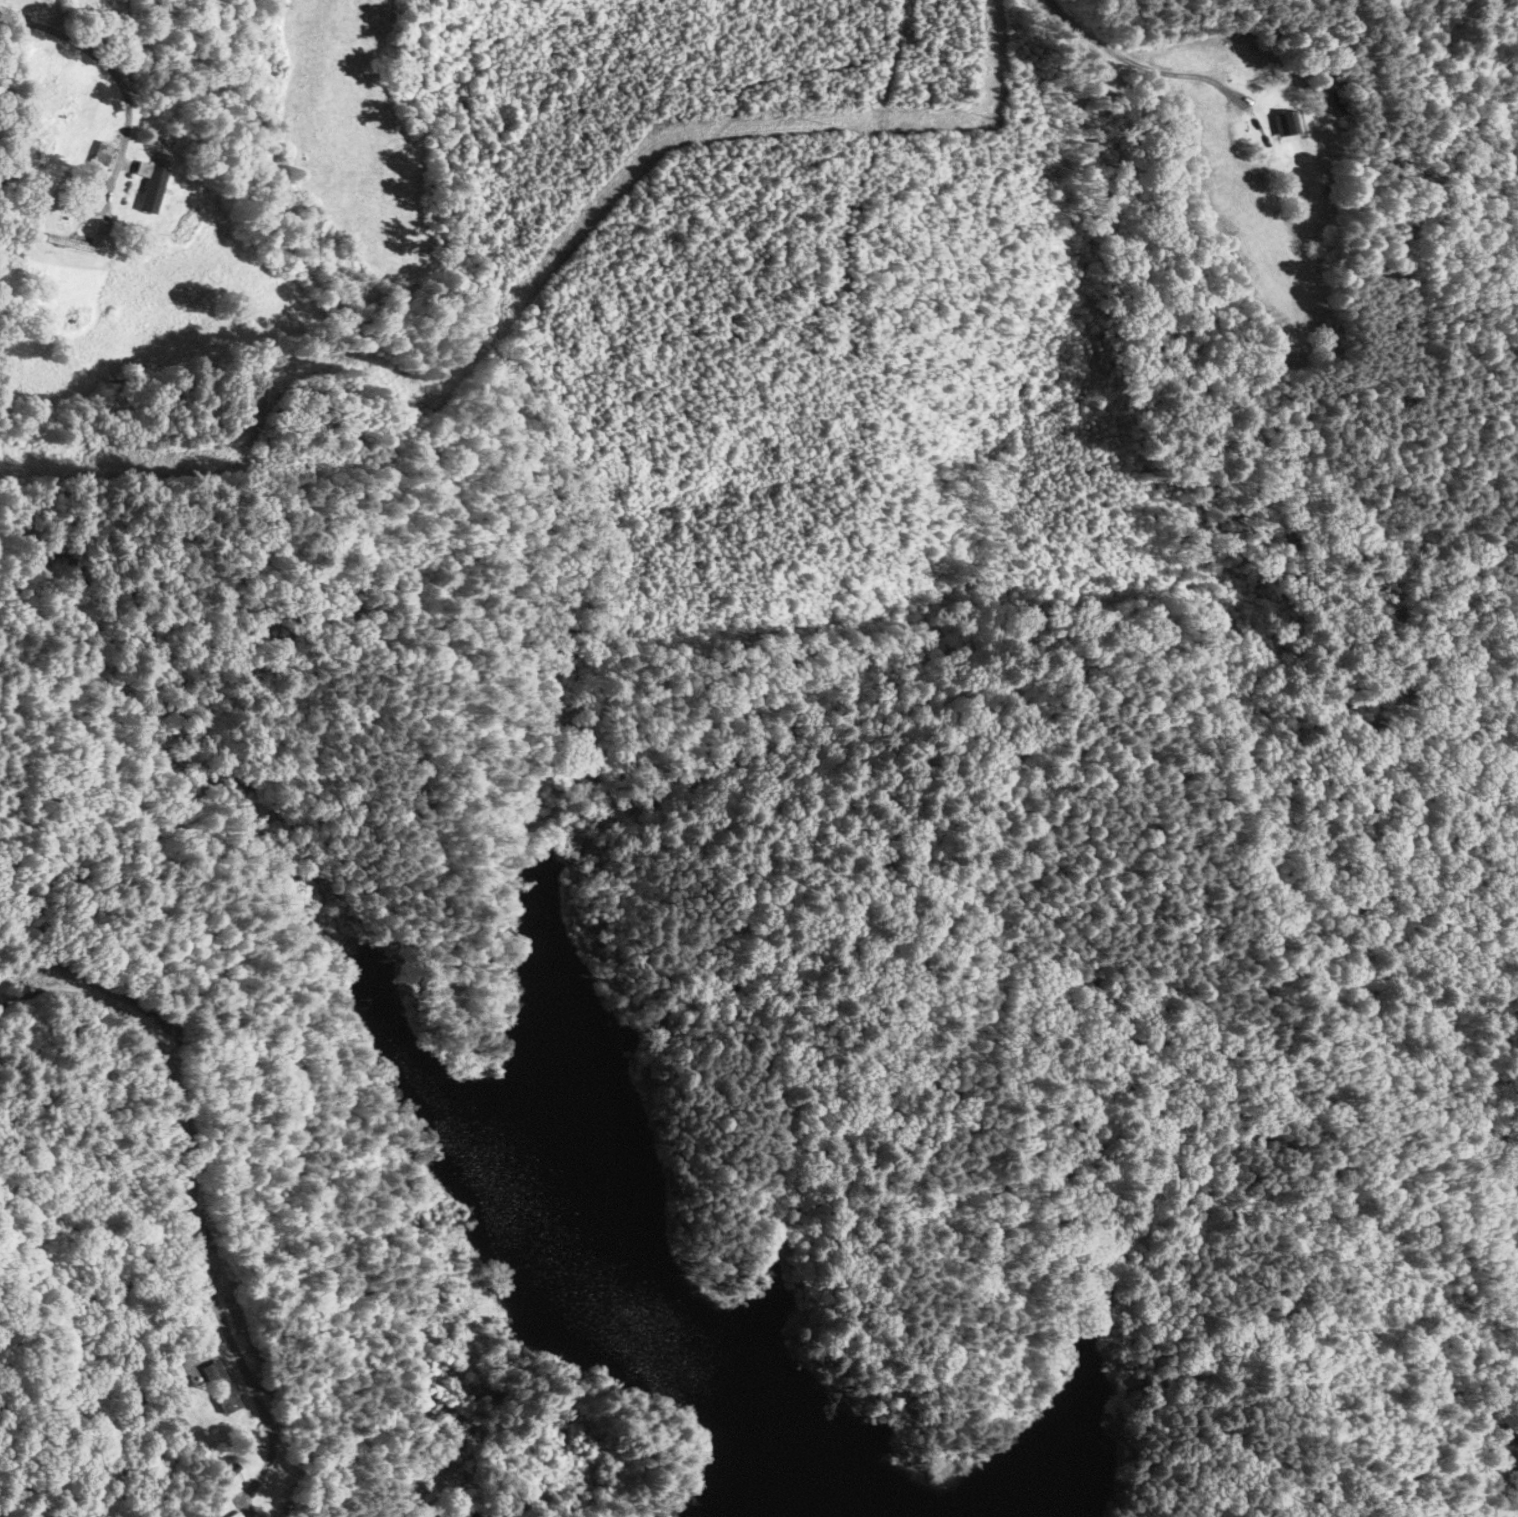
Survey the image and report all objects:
road: (1132, 62)
road: (92, 67)
building: (1284, 126)
building: (96, 162)
road: (1261, 166)
building: (151, 183)
road: (190, 1189)
building: (220, 1388)
building: (234, 1515)

